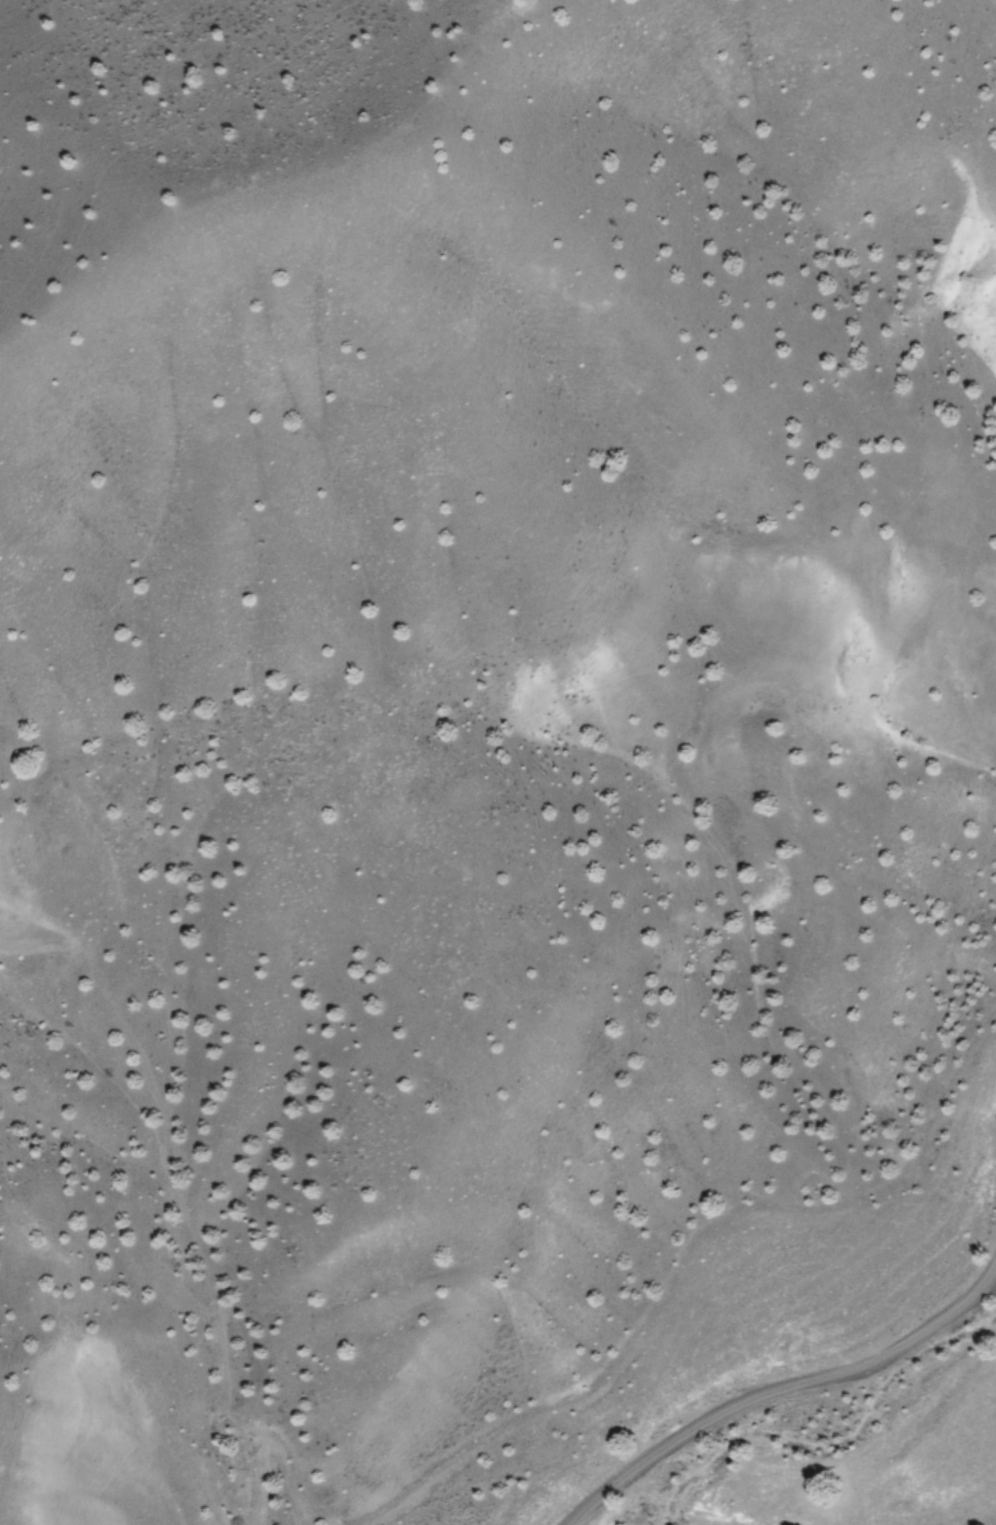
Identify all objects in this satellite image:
road: (780, 1388)

